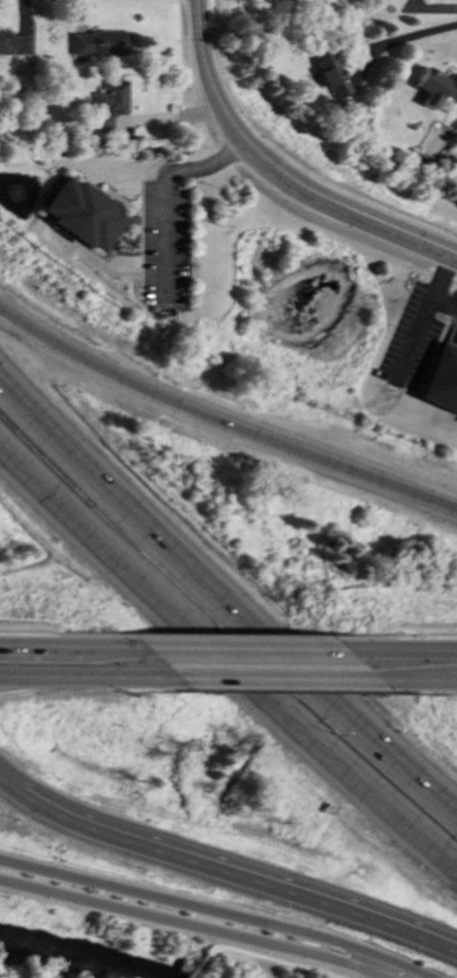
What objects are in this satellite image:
road: (397, 38)
building: (14, 43)
building: (98, 43)
building: (331, 75)
building: (435, 86)
building: (108, 104)
road: (278, 170)
road: (168, 186)
building: (83, 213)
road: (308, 217)
road: (444, 302)
road: (421, 312)
building: (441, 379)
road: (222, 422)
road: (142, 522)
road: (110, 553)
road: (65, 633)
road: (391, 634)
road: (229, 636)
road: (73, 643)
road: (245, 645)
road: (401, 646)
road: (85, 676)
road: (272, 679)
road: (416, 680)
road: (375, 733)
road: (340, 762)
road: (5, 789)
road: (231, 878)
road: (205, 913)
road: (190, 921)
river: (78, 954)
road: (272, 957)
road: (194, 966)

